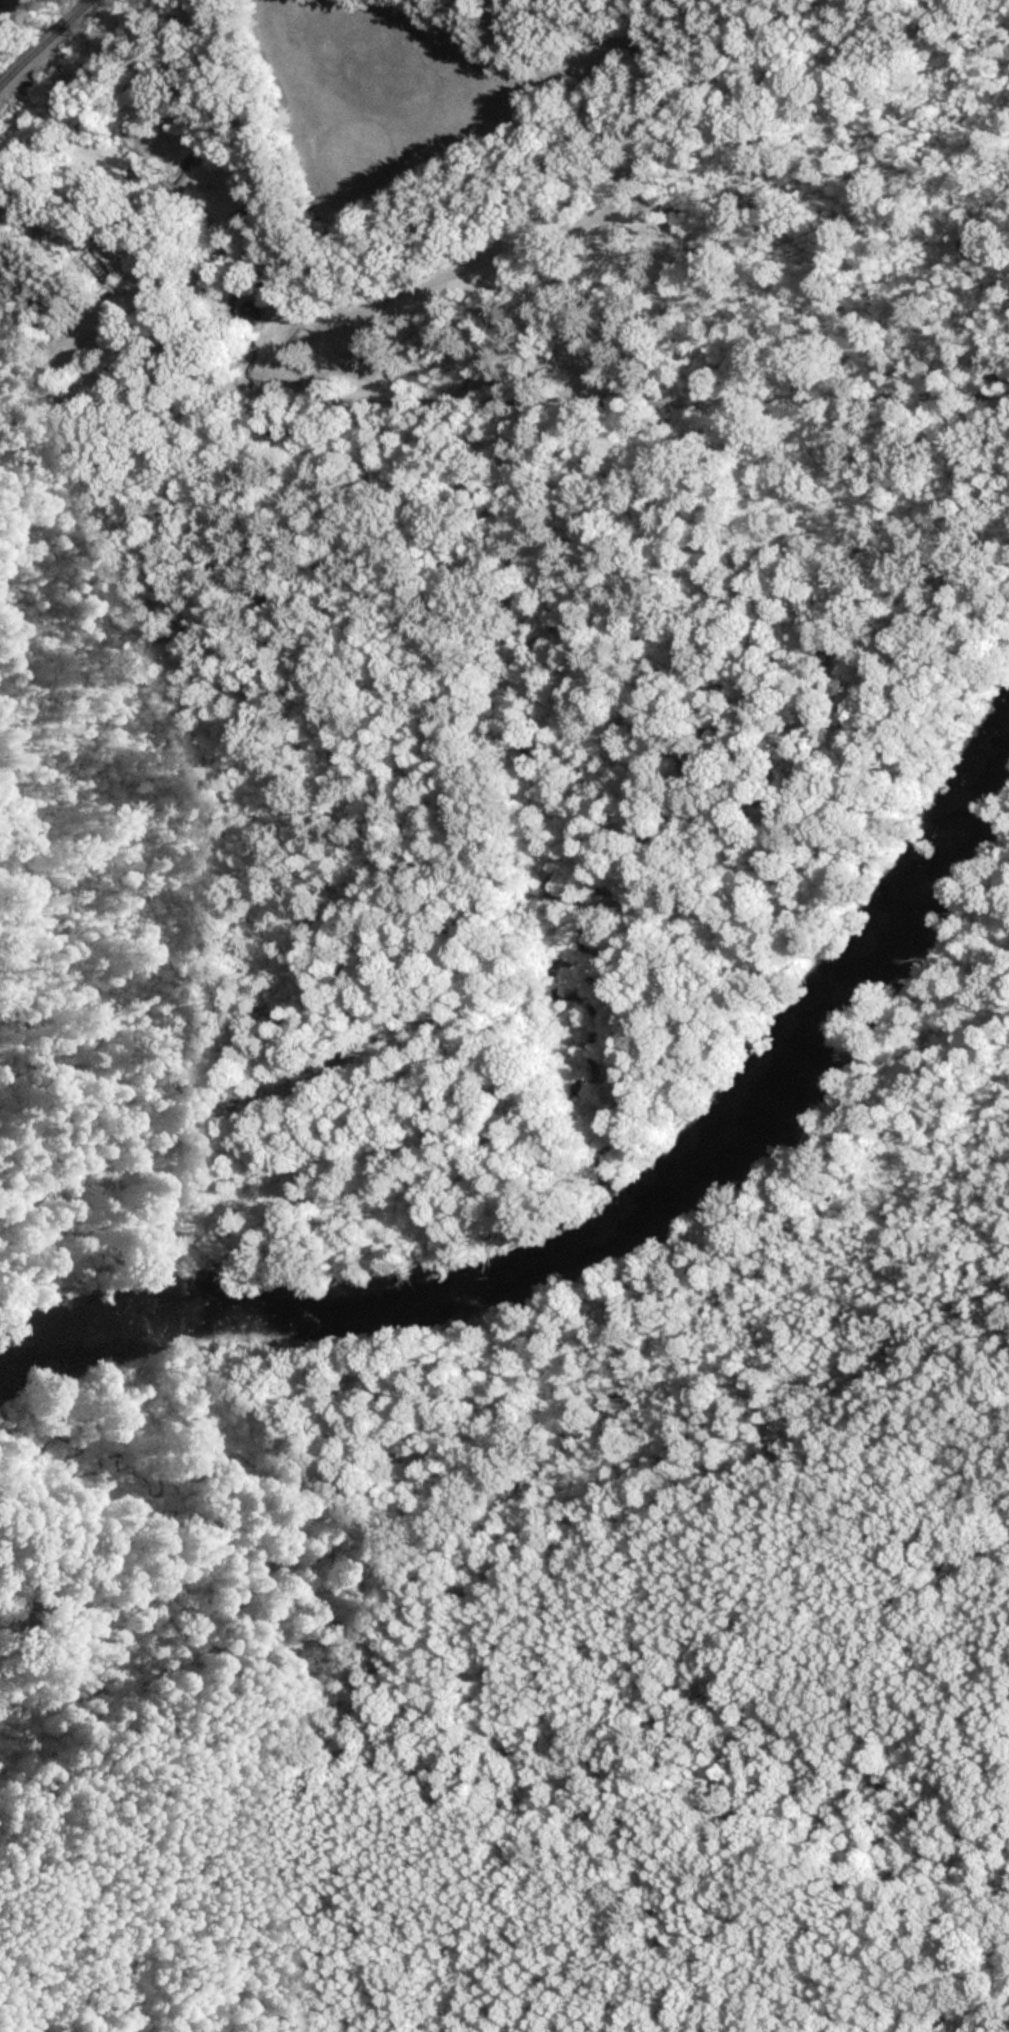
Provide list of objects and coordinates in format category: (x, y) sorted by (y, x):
road: (538, 36)
road: (620, 37)
railway: (45, 44)
road: (609, 131)
park: (506, 231)
road: (416, 264)
road: (106, 283)
building: (247, 313)
road: (563, 390)
river: (602, 1253)
park: (556, 1597)
road: (805, 1623)

